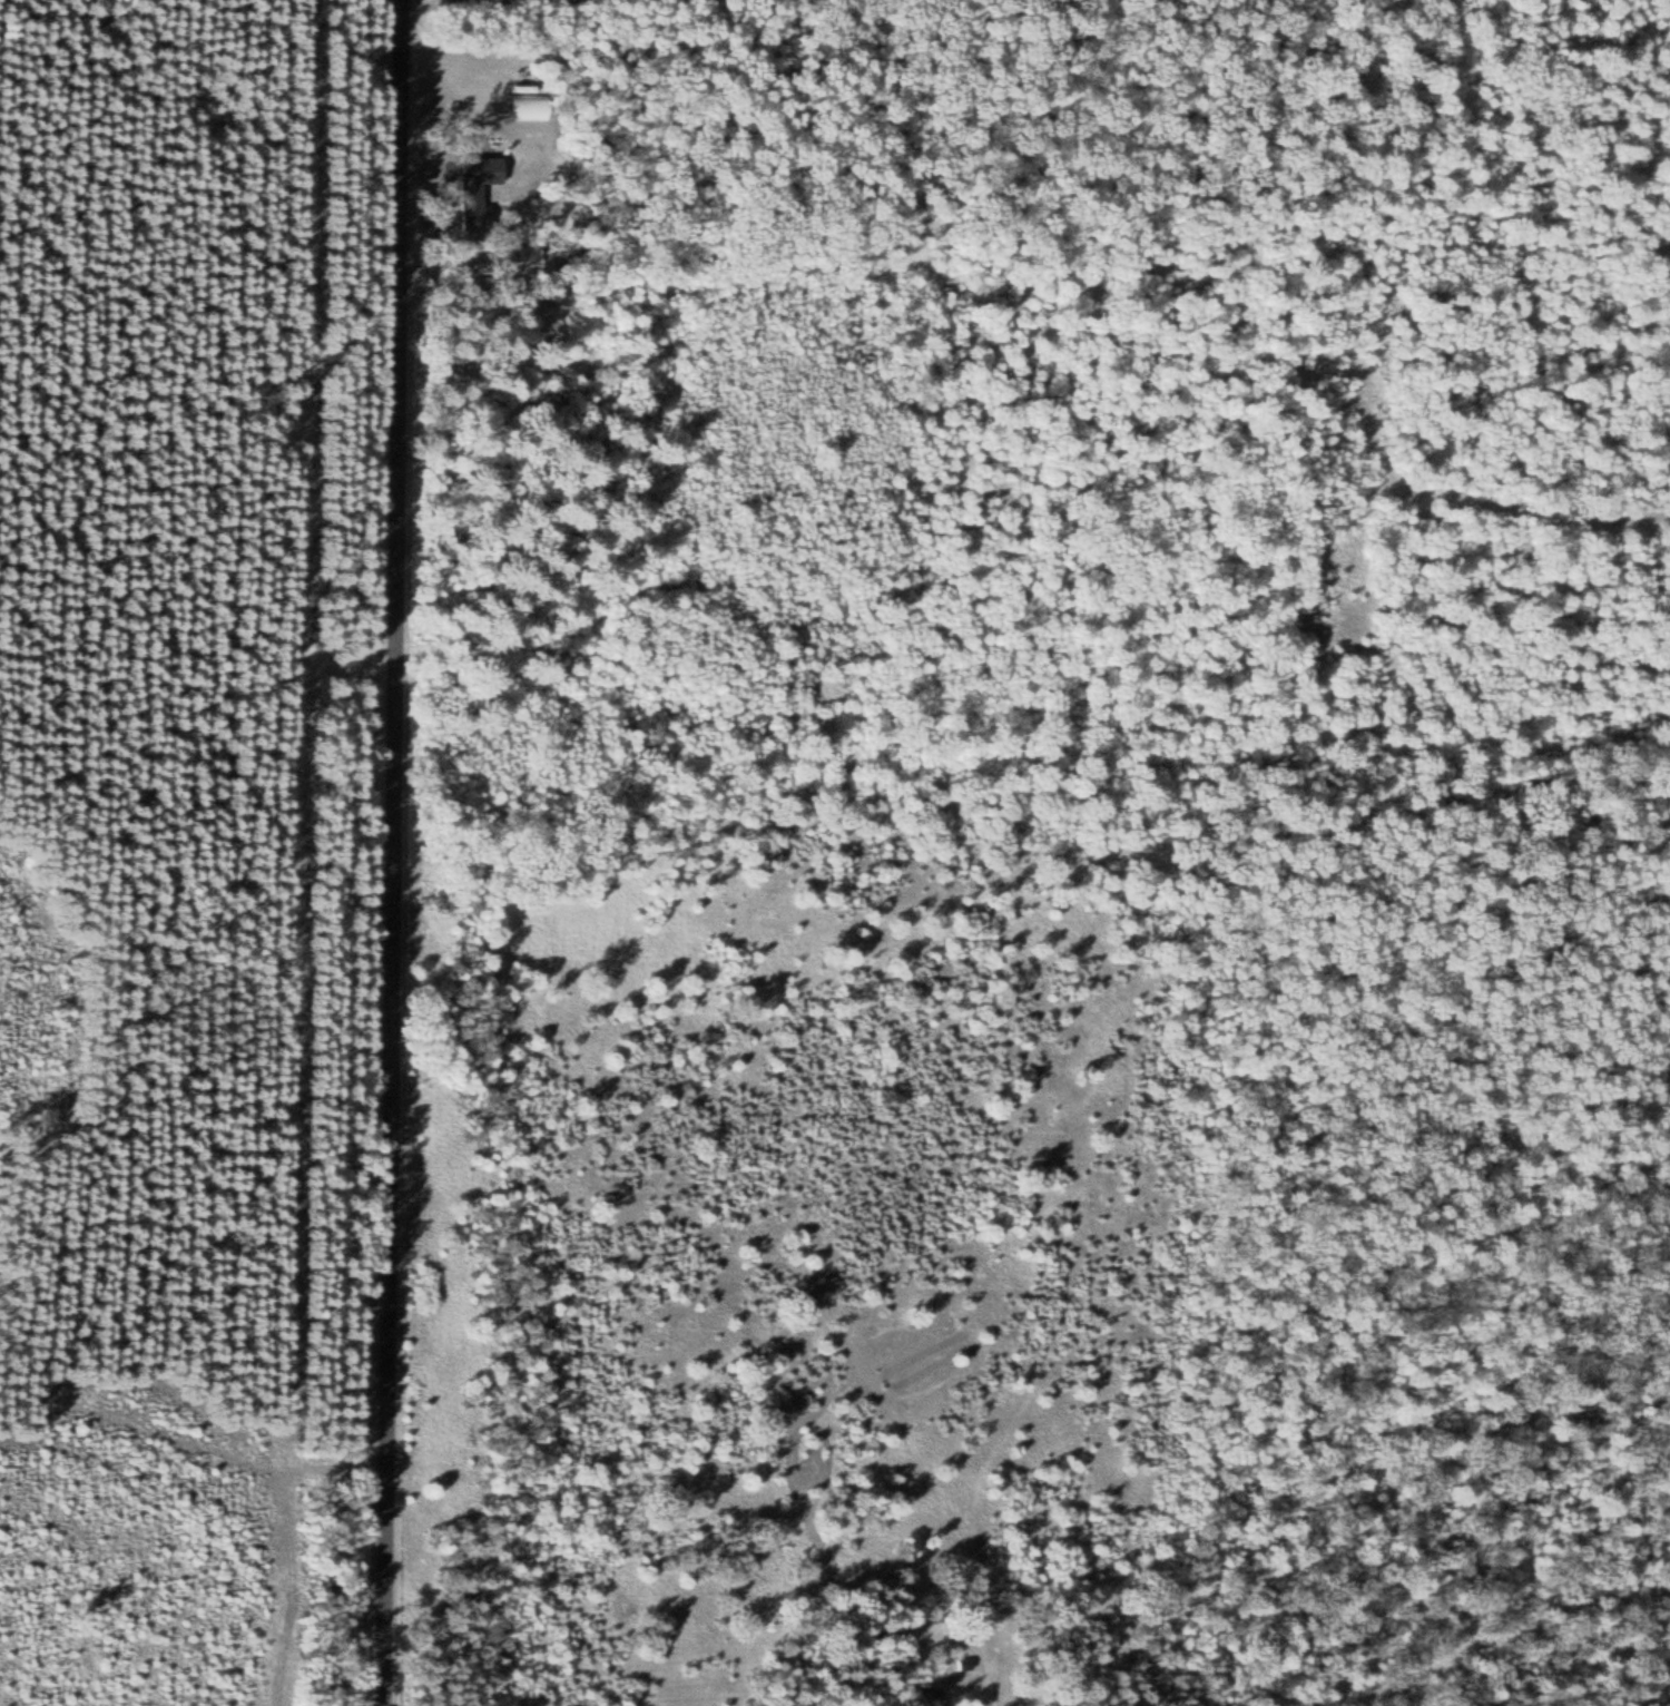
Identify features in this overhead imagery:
building: (531, 106)
building: (480, 212)
building: (534, 259)
road: (399, 853)

